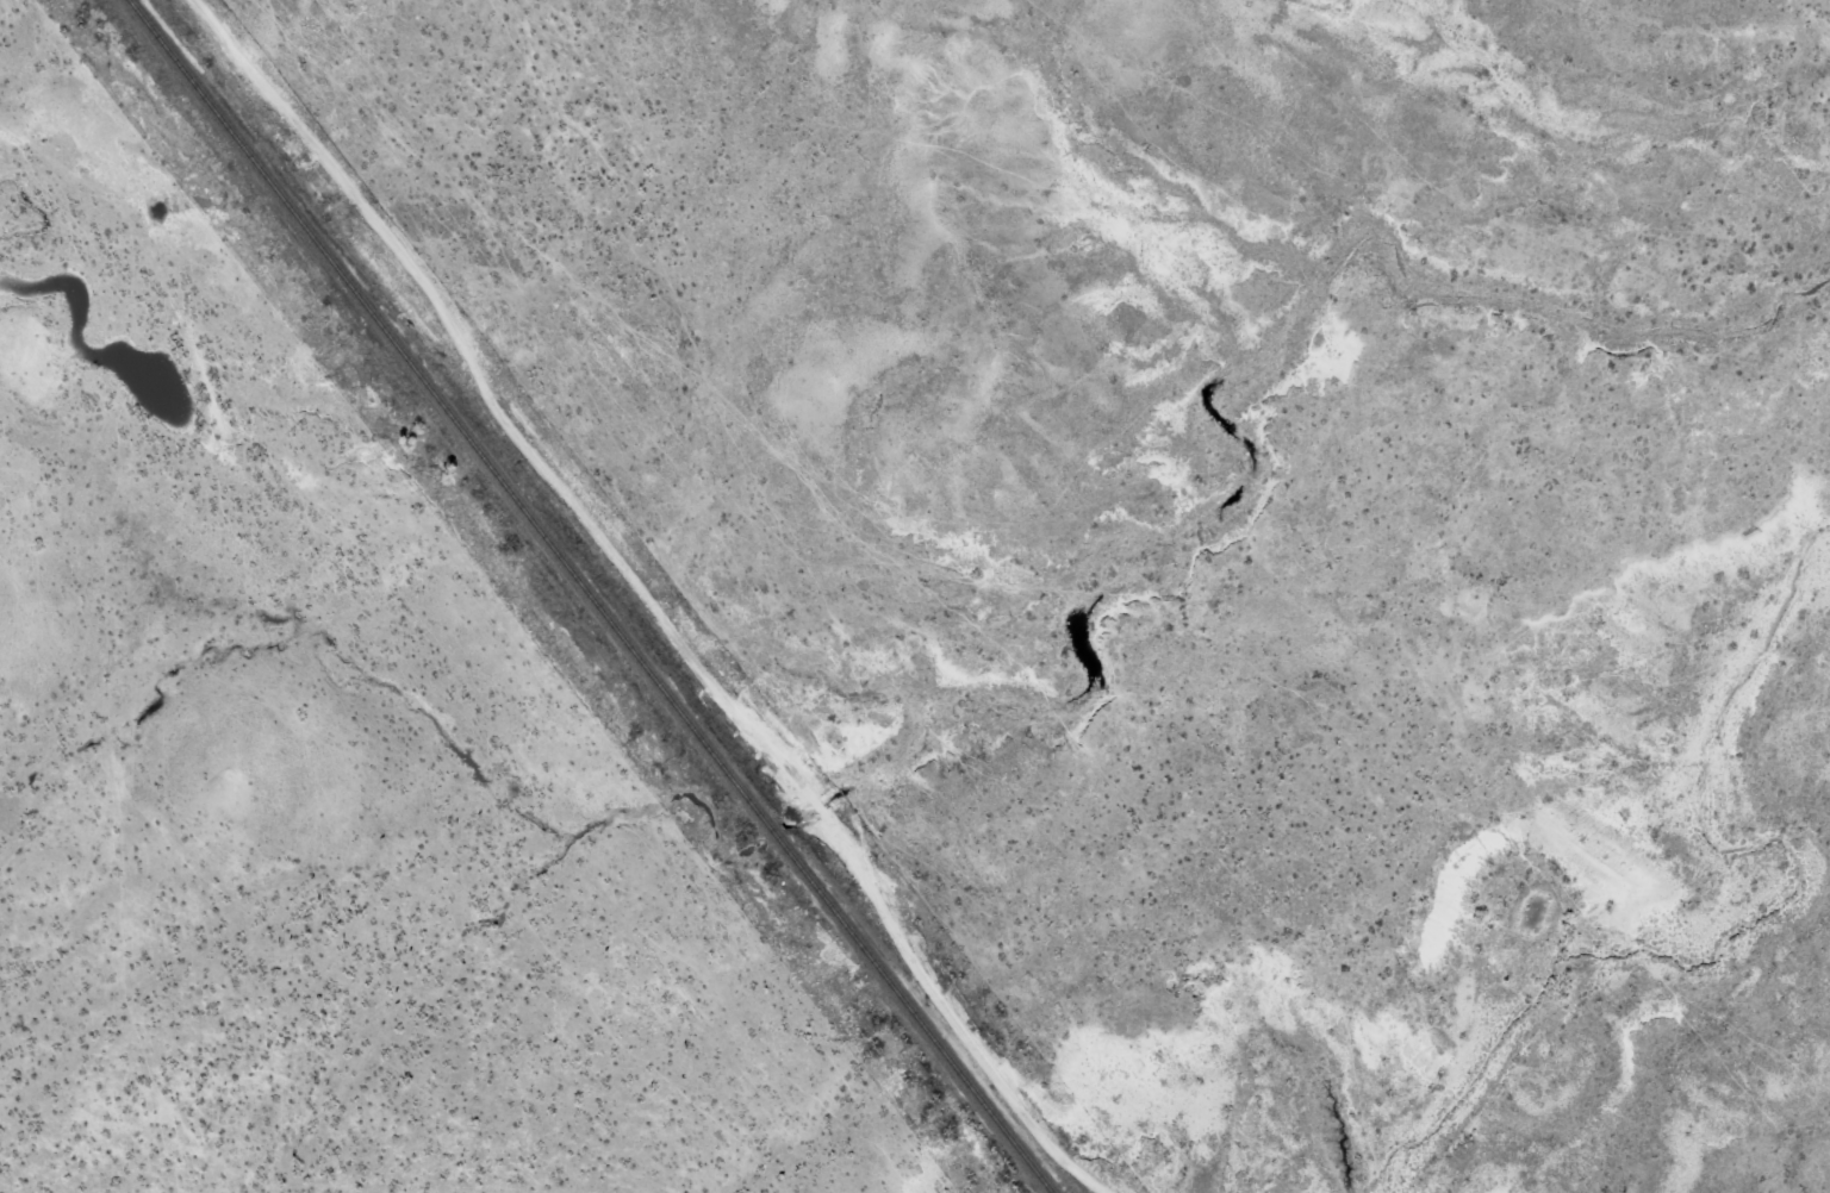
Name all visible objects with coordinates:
railway: (587, 595)

